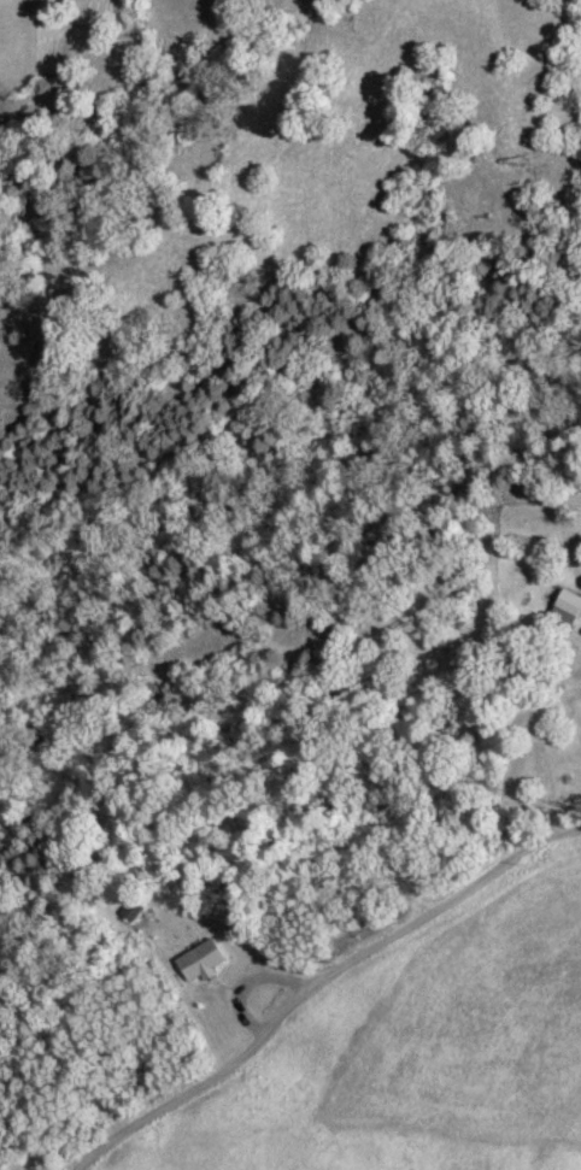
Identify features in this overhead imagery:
building: (570, 604)
building: (133, 911)
building: (201, 962)
road: (325, 988)

